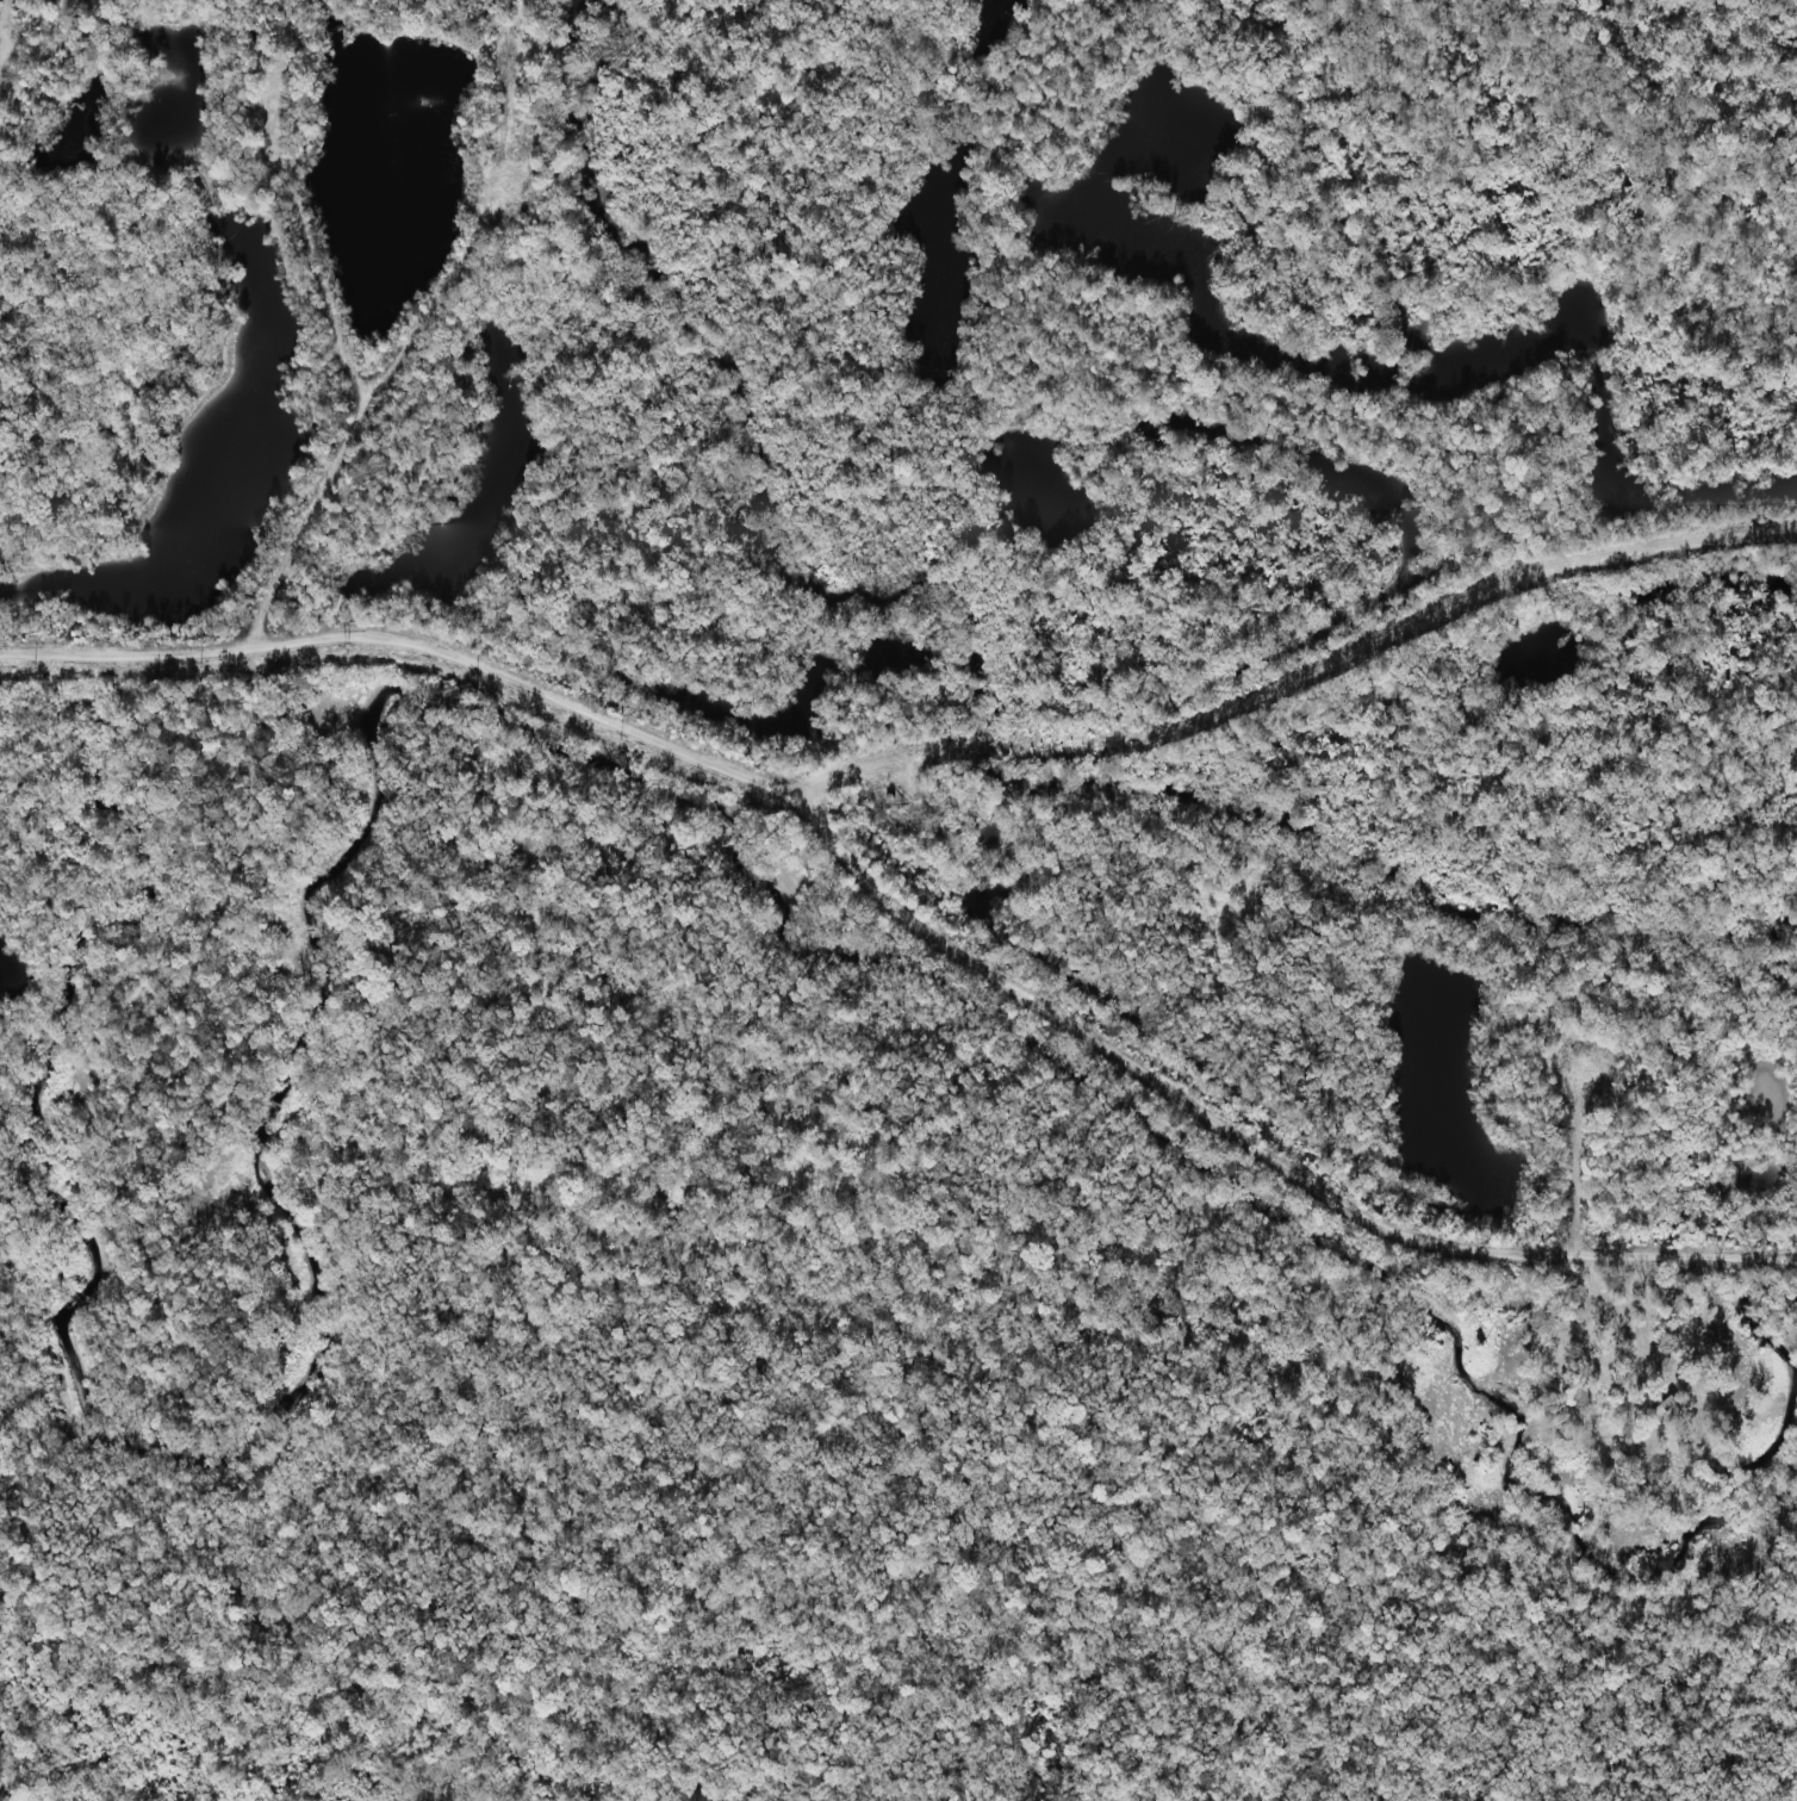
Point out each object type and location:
road: (324, 288)
road: (1317, 390)
road: (260, 644)
road: (1181, 682)
road: (915, 900)

